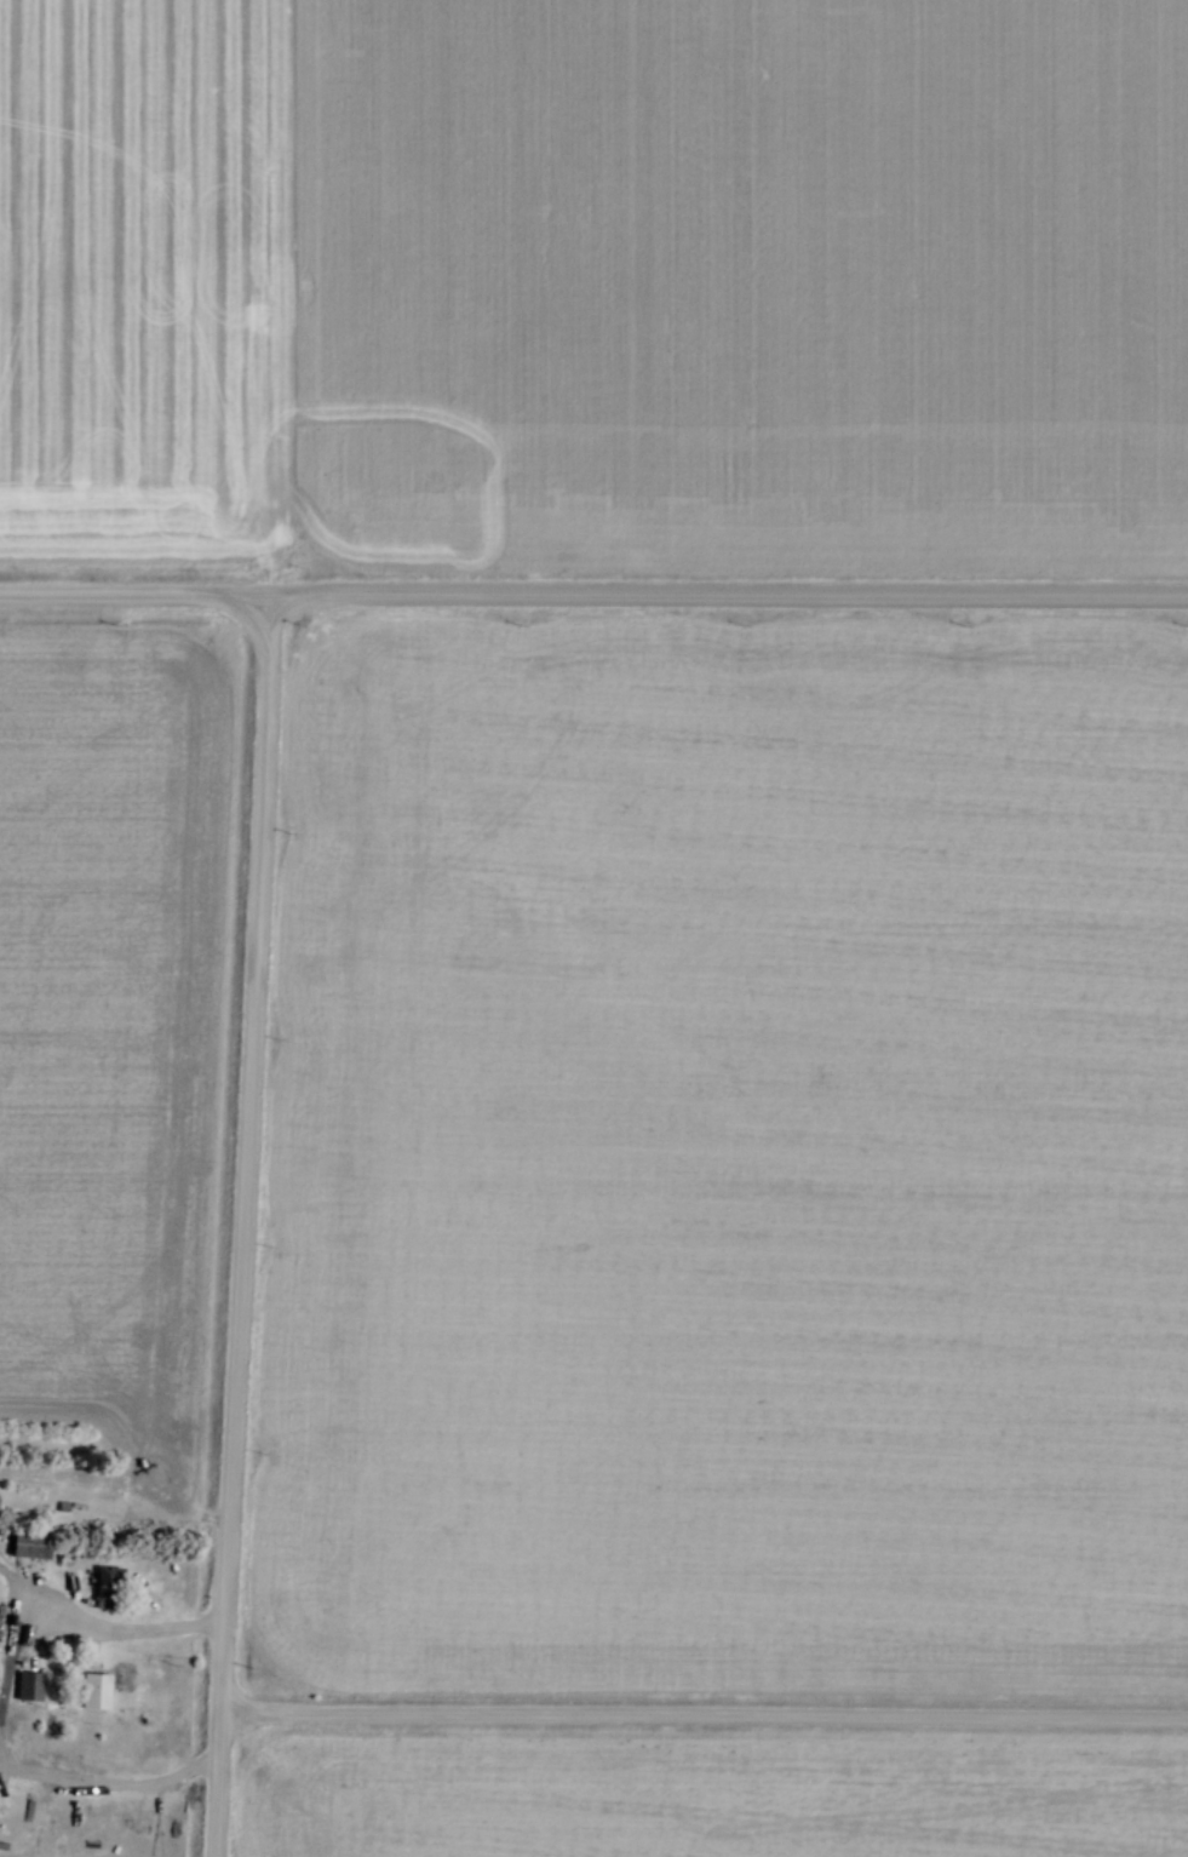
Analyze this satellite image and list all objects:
crop: (585, 264)
road: (132, 592)
road: (727, 592)
crop: (105, 1002)
crop: (728, 1156)
road: (241, 1225)
silo: (1, 1528)
building: (31, 1542)
building: (108, 1586)
road: (108, 1629)
building: (29, 1684)
building: (94, 1690)
road: (704, 1715)
crop: (704, 1799)
crop: (85, 1841)

